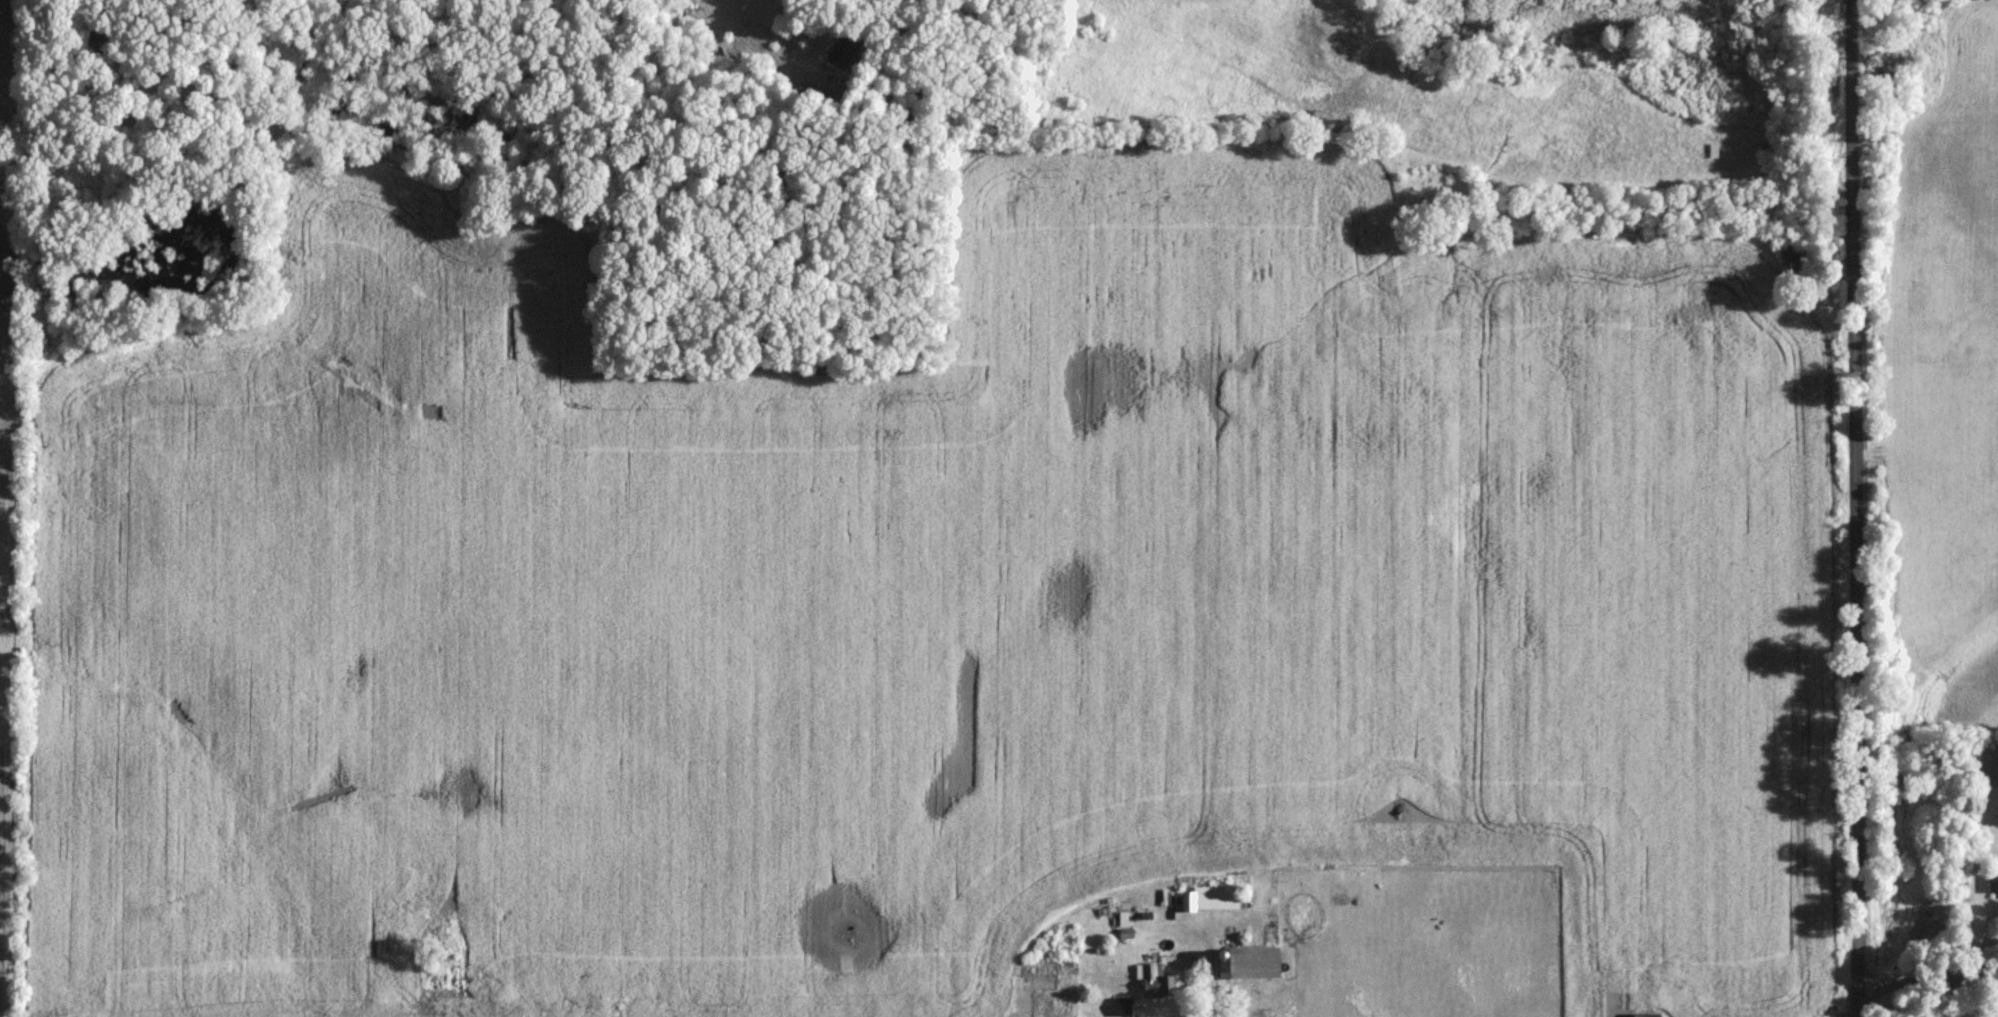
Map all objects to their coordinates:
road: (751, 47)
road: (1854, 68)
road: (1854, 576)
building: (1210, 900)
building: (1247, 964)
building: (1028, 970)
road: (1926, 980)
building: (1152, 984)

